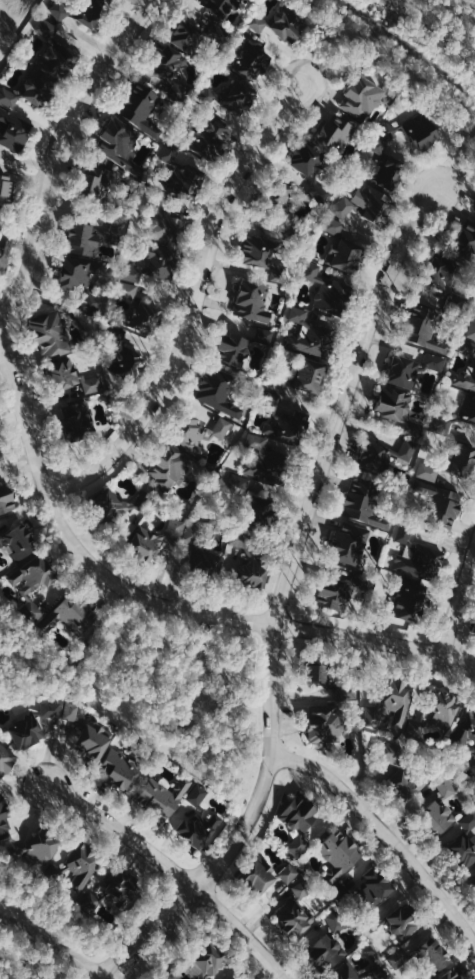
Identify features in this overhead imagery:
building: (107, 1)
building: (111, 1)
building: (219, 6)
building: (81, 12)
building: (279, 25)
park: (429, 35)
building: (192, 36)
building: (54, 51)
building: (248, 60)
building: (166, 70)
building: (32, 90)
building: (228, 96)
building: (360, 97)
building: (139, 108)
building: (414, 129)
building: (13, 130)
building: (332, 135)
building: (207, 138)
building: (114, 139)
road: (53, 153)
road: (456, 161)
building: (384, 167)
building: (312, 169)
building: (181, 172)
building: (93, 184)
building: (6, 188)
building: (363, 201)
building: (474, 205)
building: (282, 206)
building: (165, 223)
building: (91, 236)
building: (465, 240)
building: (341, 246)
building: (5, 248)
building: (263, 255)
building: (150, 261)
building: (445, 280)
building: (81, 281)
building: (326, 291)
building: (251, 300)
road: (193, 305)
building: (136, 311)
road: (1, 321)
building: (423, 326)
building: (470, 329)
building: (47, 331)
building: (309, 334)
building: (239, 344)
building: (121, 354)
building: (473, 366)
building: (412, 367)
building: (297, 375)
building: (73, 377)
building: (216, 388)
building: (467, 405)
building: (397, 409)
building: (283, 419)
building: (77, 422)
building: (198, 432)
building: (382, 456)
building: (0, 457)
building: (265, 461)
building: (451, 462)
building: (168, 465)
building: (6, 500)
building: (256, 503)
building: (439, 503)
building: (363, 504)
building: (113, 505)
building: (19, 538)
building: (0, 539)
building: (150, 540)
building: (350, 542)
road: (300, 548)
building: (416, 552)
building: (202, 559)
building: (249, 563)
building: (36, 582)
building: (341, 588)
building: (411, 601)
road: (166, 602)
road: (459, 603)
building: (70, 614)
building: (474, 629)
building: (330, 672)
park: (190, 689)
road: (131, 691)
building: (392, 697)
building: (435, 712)
building: (323, 722)
building: (32, 724)
building: (85, 731)
building: (453, 745)
building: (392, 753)
building: (4, 758)
building: (117, 769)
building: (408, 780)
building: (160, 796)
building: (438, 809)
building: (197, 819)
building: (5, 820)
building: (296, 821)
road: (384, 832)
building: (461, 842)
building: (37, 845)
building: (338, 853)
building: (79, 863)
road: (176, 871)
building: (265, 875)
building: (473, 885)
building: (116, 889)
building: (361, 893)
building: (296, 907)
building: (397, 920)
road: (141, 935)
building: (327, 943)
road: (52, 945)
road: (163, 947)
building: (422, 957)
building: (206, 961)
building: (375, 967)
building: (451, 974)
building: (241, 977)

